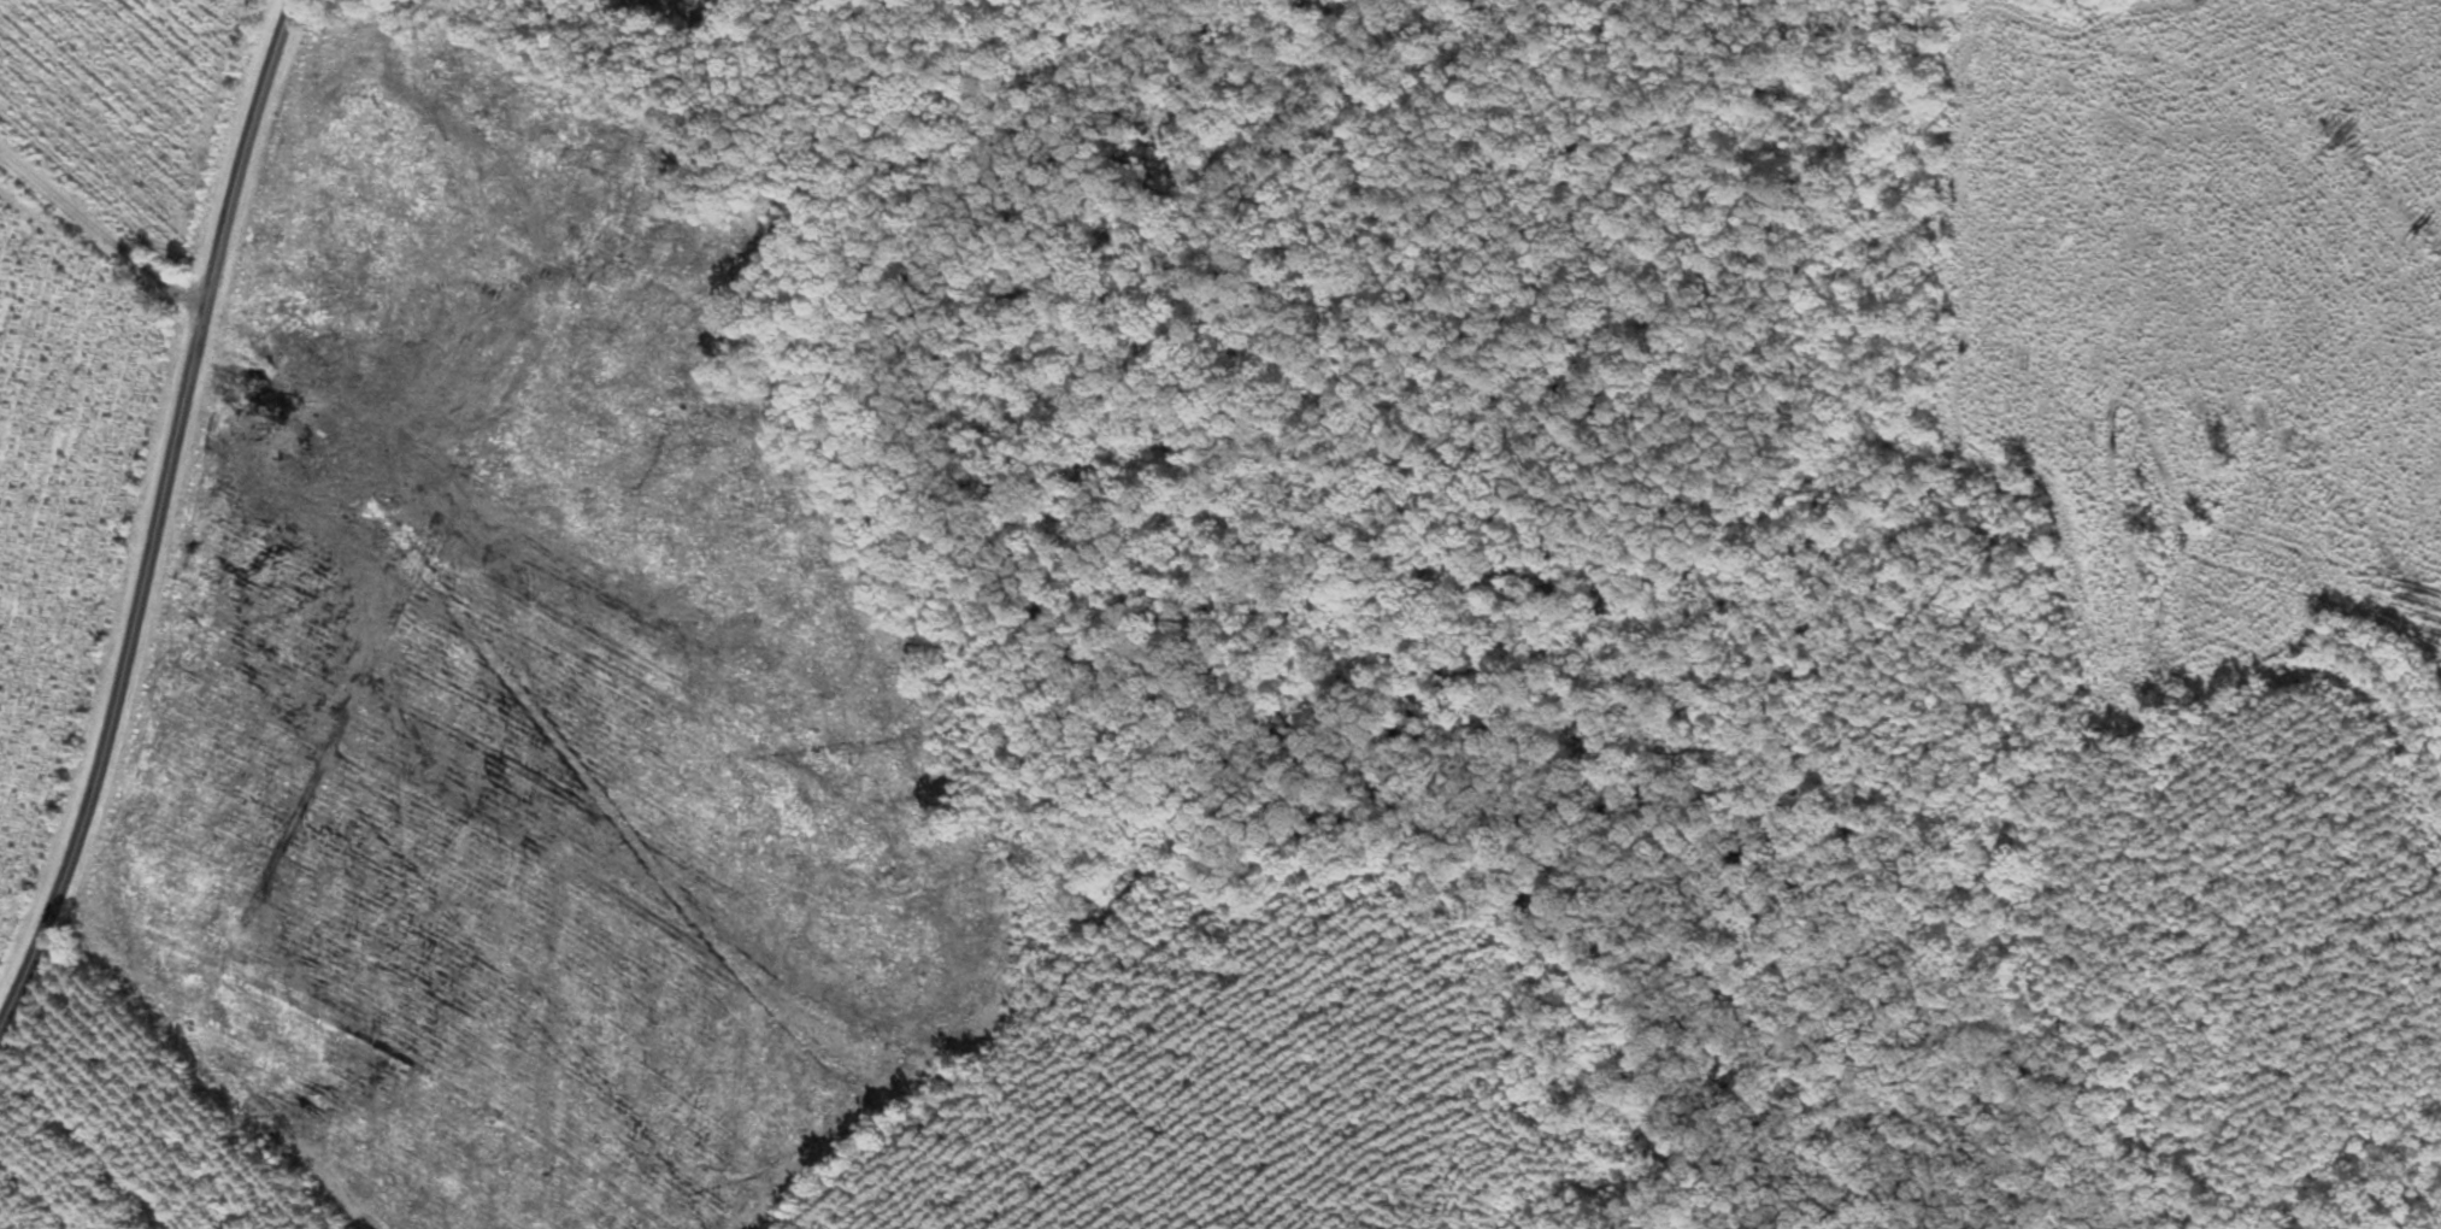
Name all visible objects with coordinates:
road: (158, 517)

